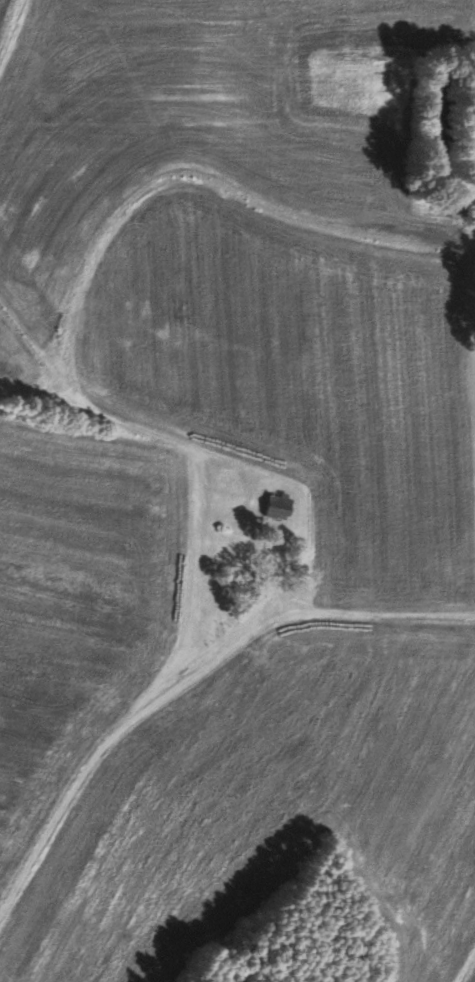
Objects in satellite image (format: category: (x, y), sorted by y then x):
building: (282, 506)
road: (188, 667)

